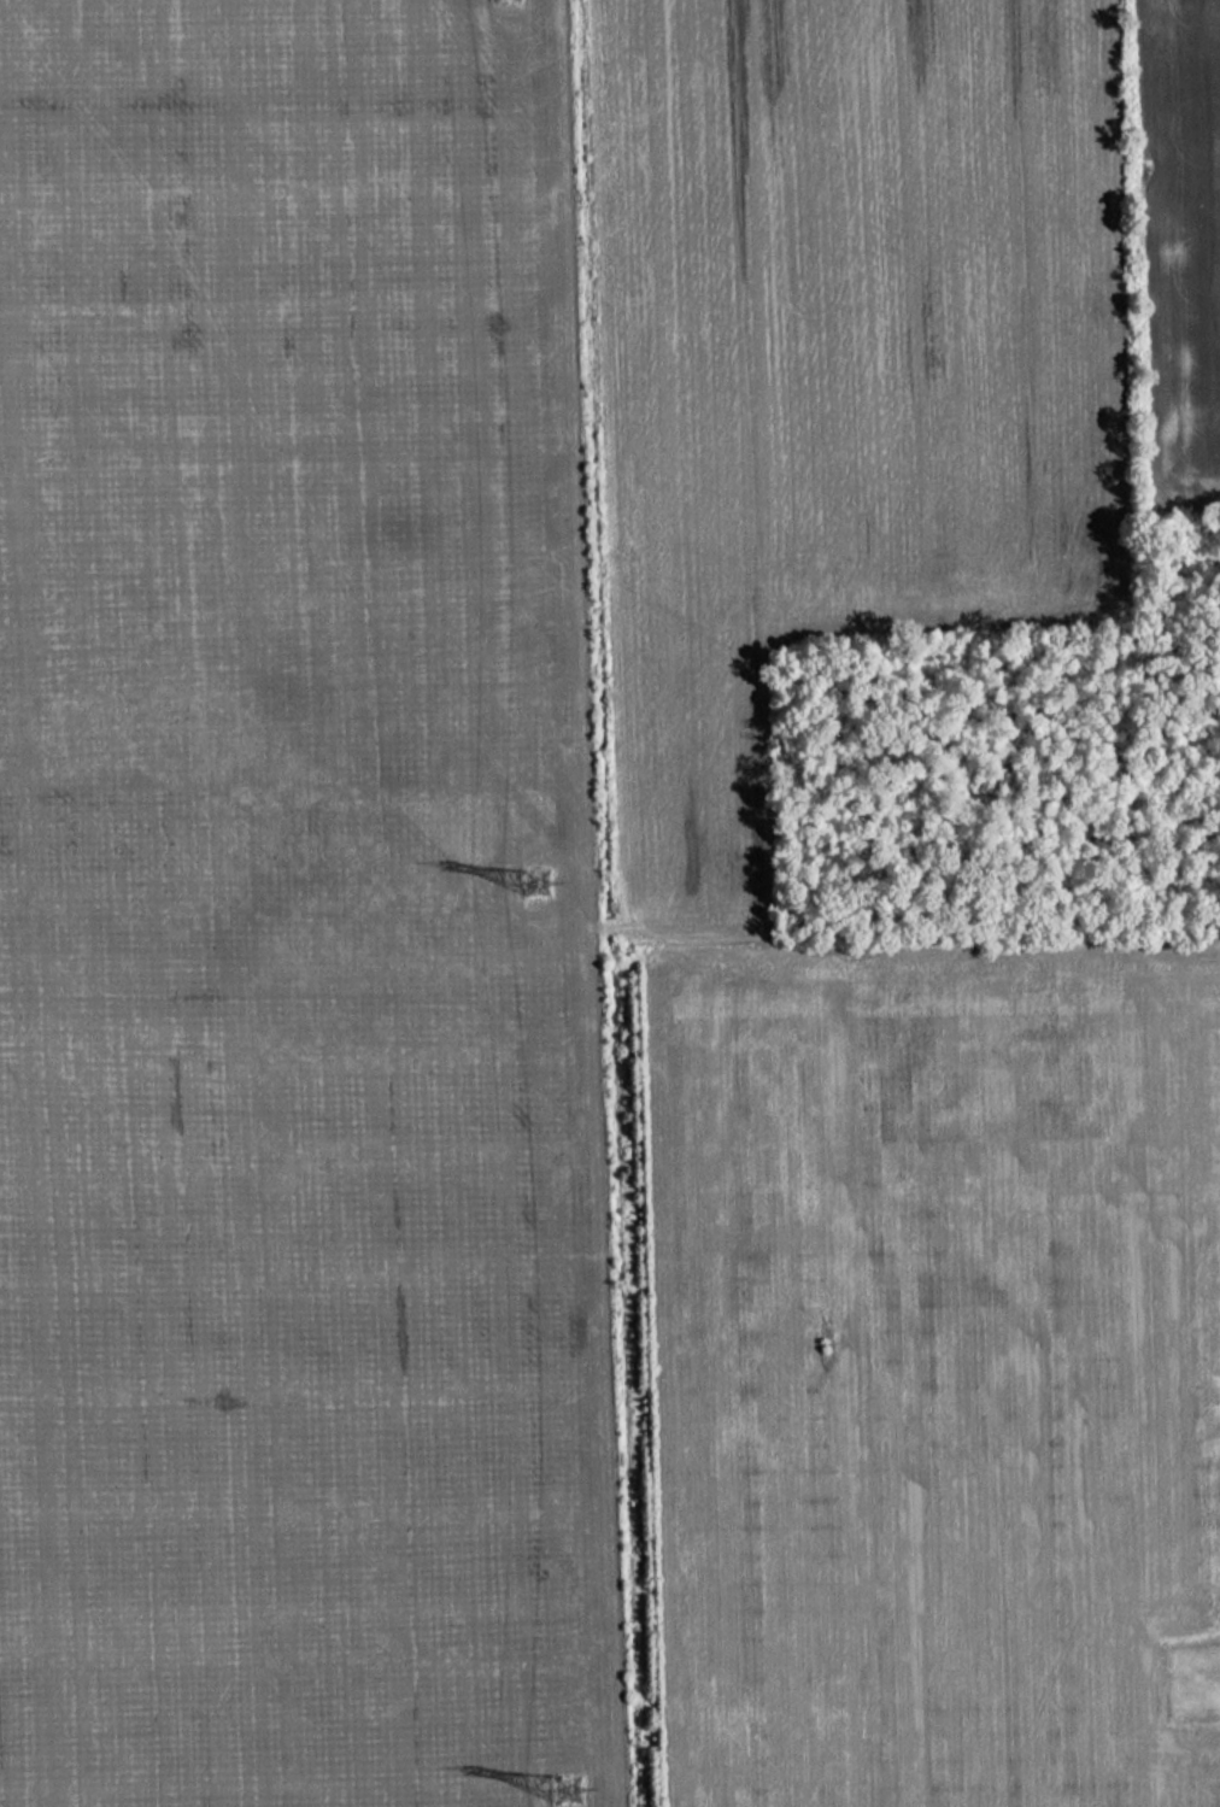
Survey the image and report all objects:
crop: (1181, 240)
crop: (441, 776)
power tower: (532, 893)
crop: (933, 1371)
power tower: (570, 1785)

